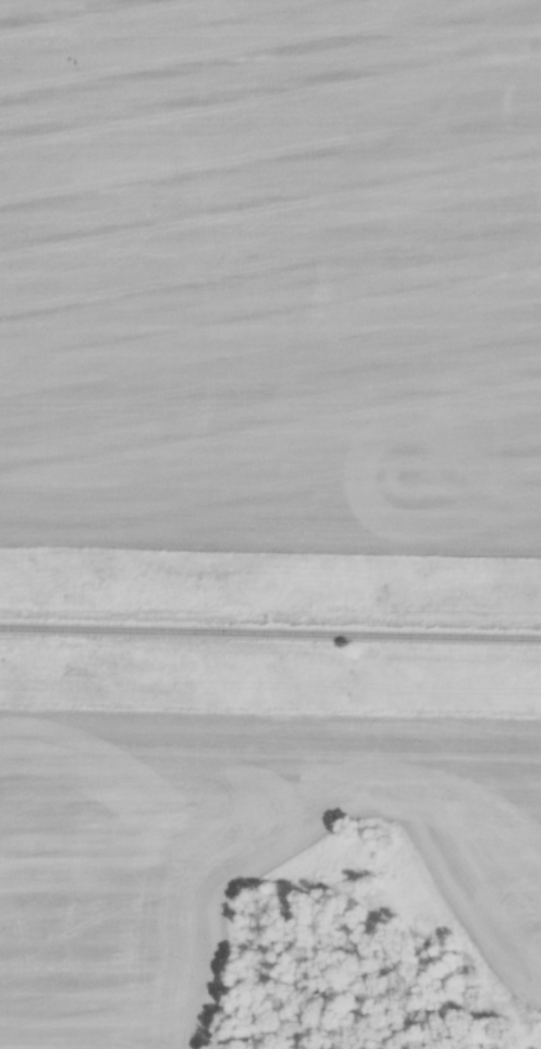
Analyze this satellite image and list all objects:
railway: (270, 635)

